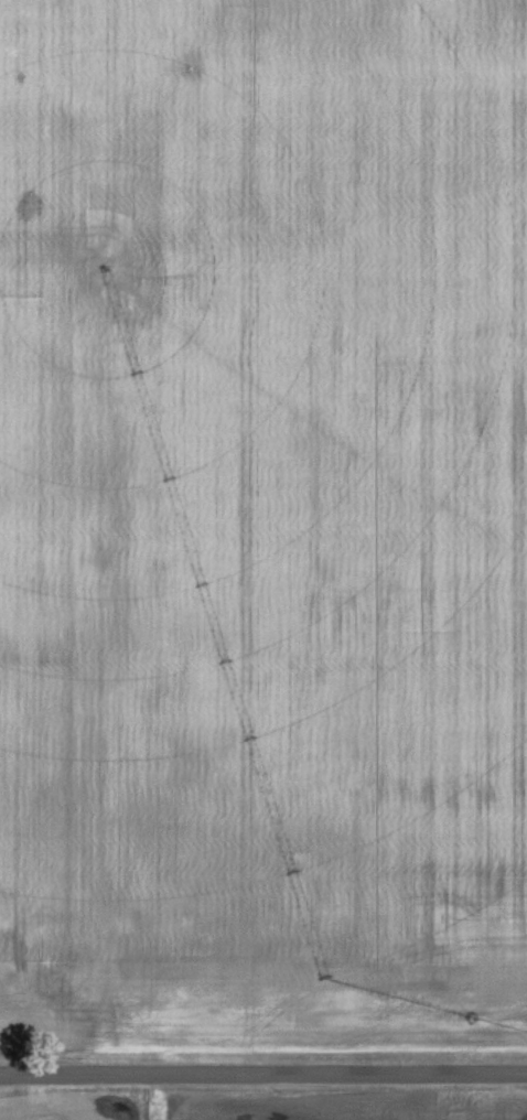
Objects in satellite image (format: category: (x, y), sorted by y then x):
road: (263, 1075)

